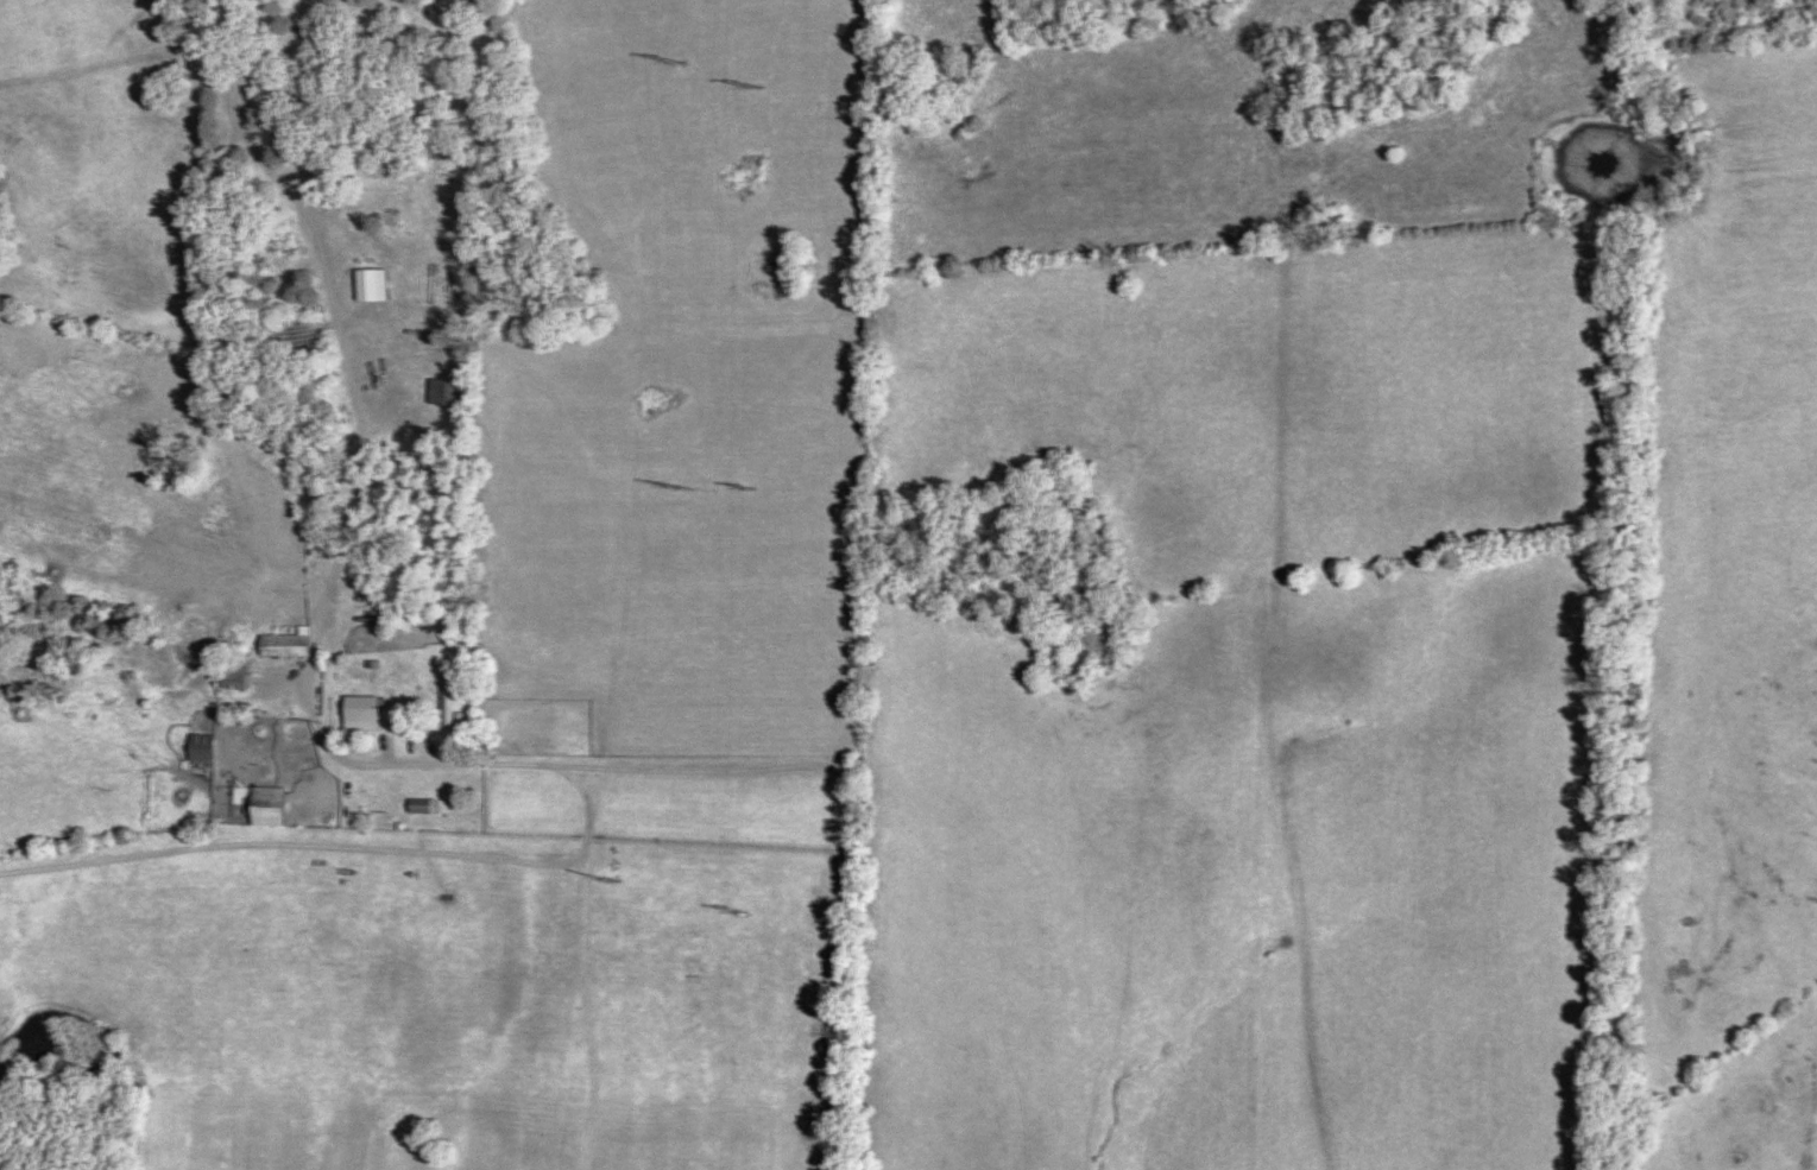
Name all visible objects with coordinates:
power tower: (686, 57)
power tower: (749, 77)
building: (447, 390)
power tower: (755, 480)
power tower: (671, 485)
building: (288, 641)
building: (235, 672)
building: (449, 696)
building: (366, 706)
building: (201, 745)
road: (801, 758)
building: (270, 804)
power tower: (608, 871)
power tower: (738, 907)

